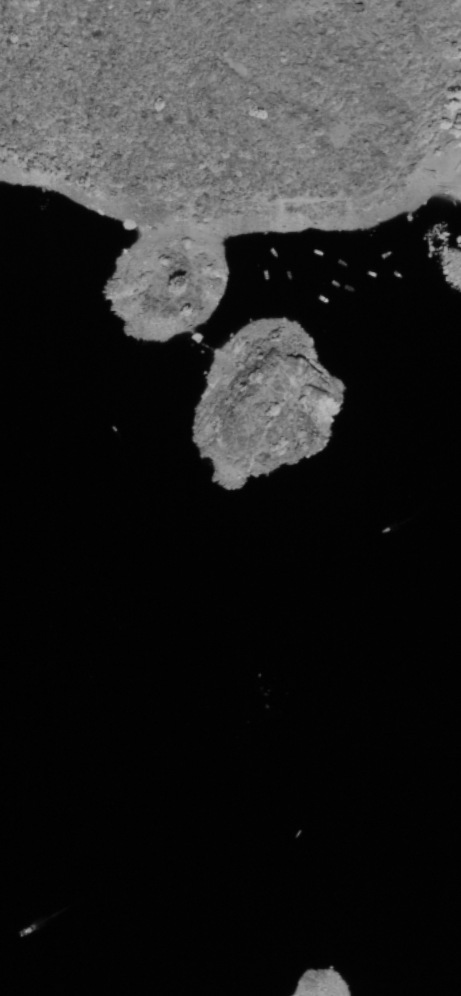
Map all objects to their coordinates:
pier: (456, 162)
road: (257, 197)

